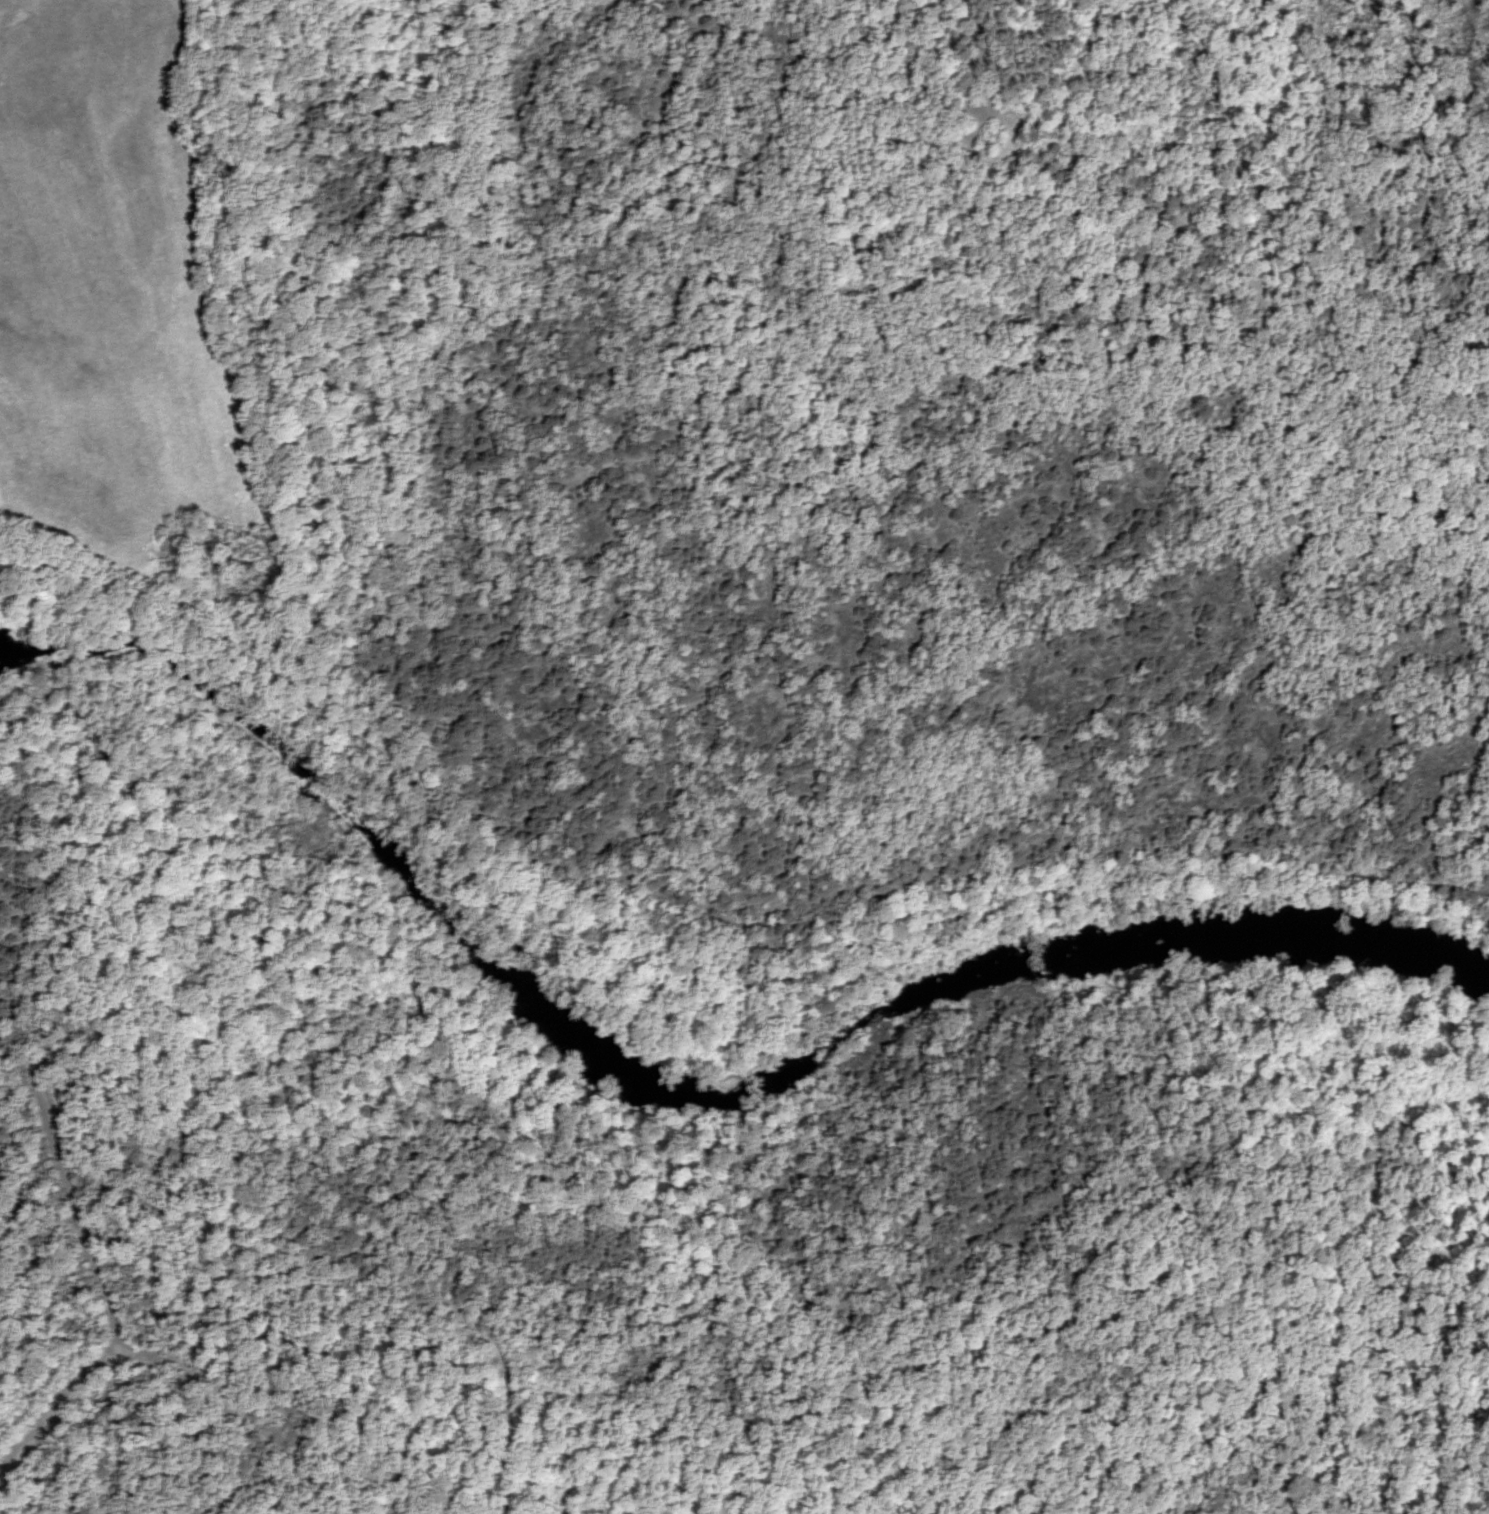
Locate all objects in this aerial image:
river: (683, 1094)

